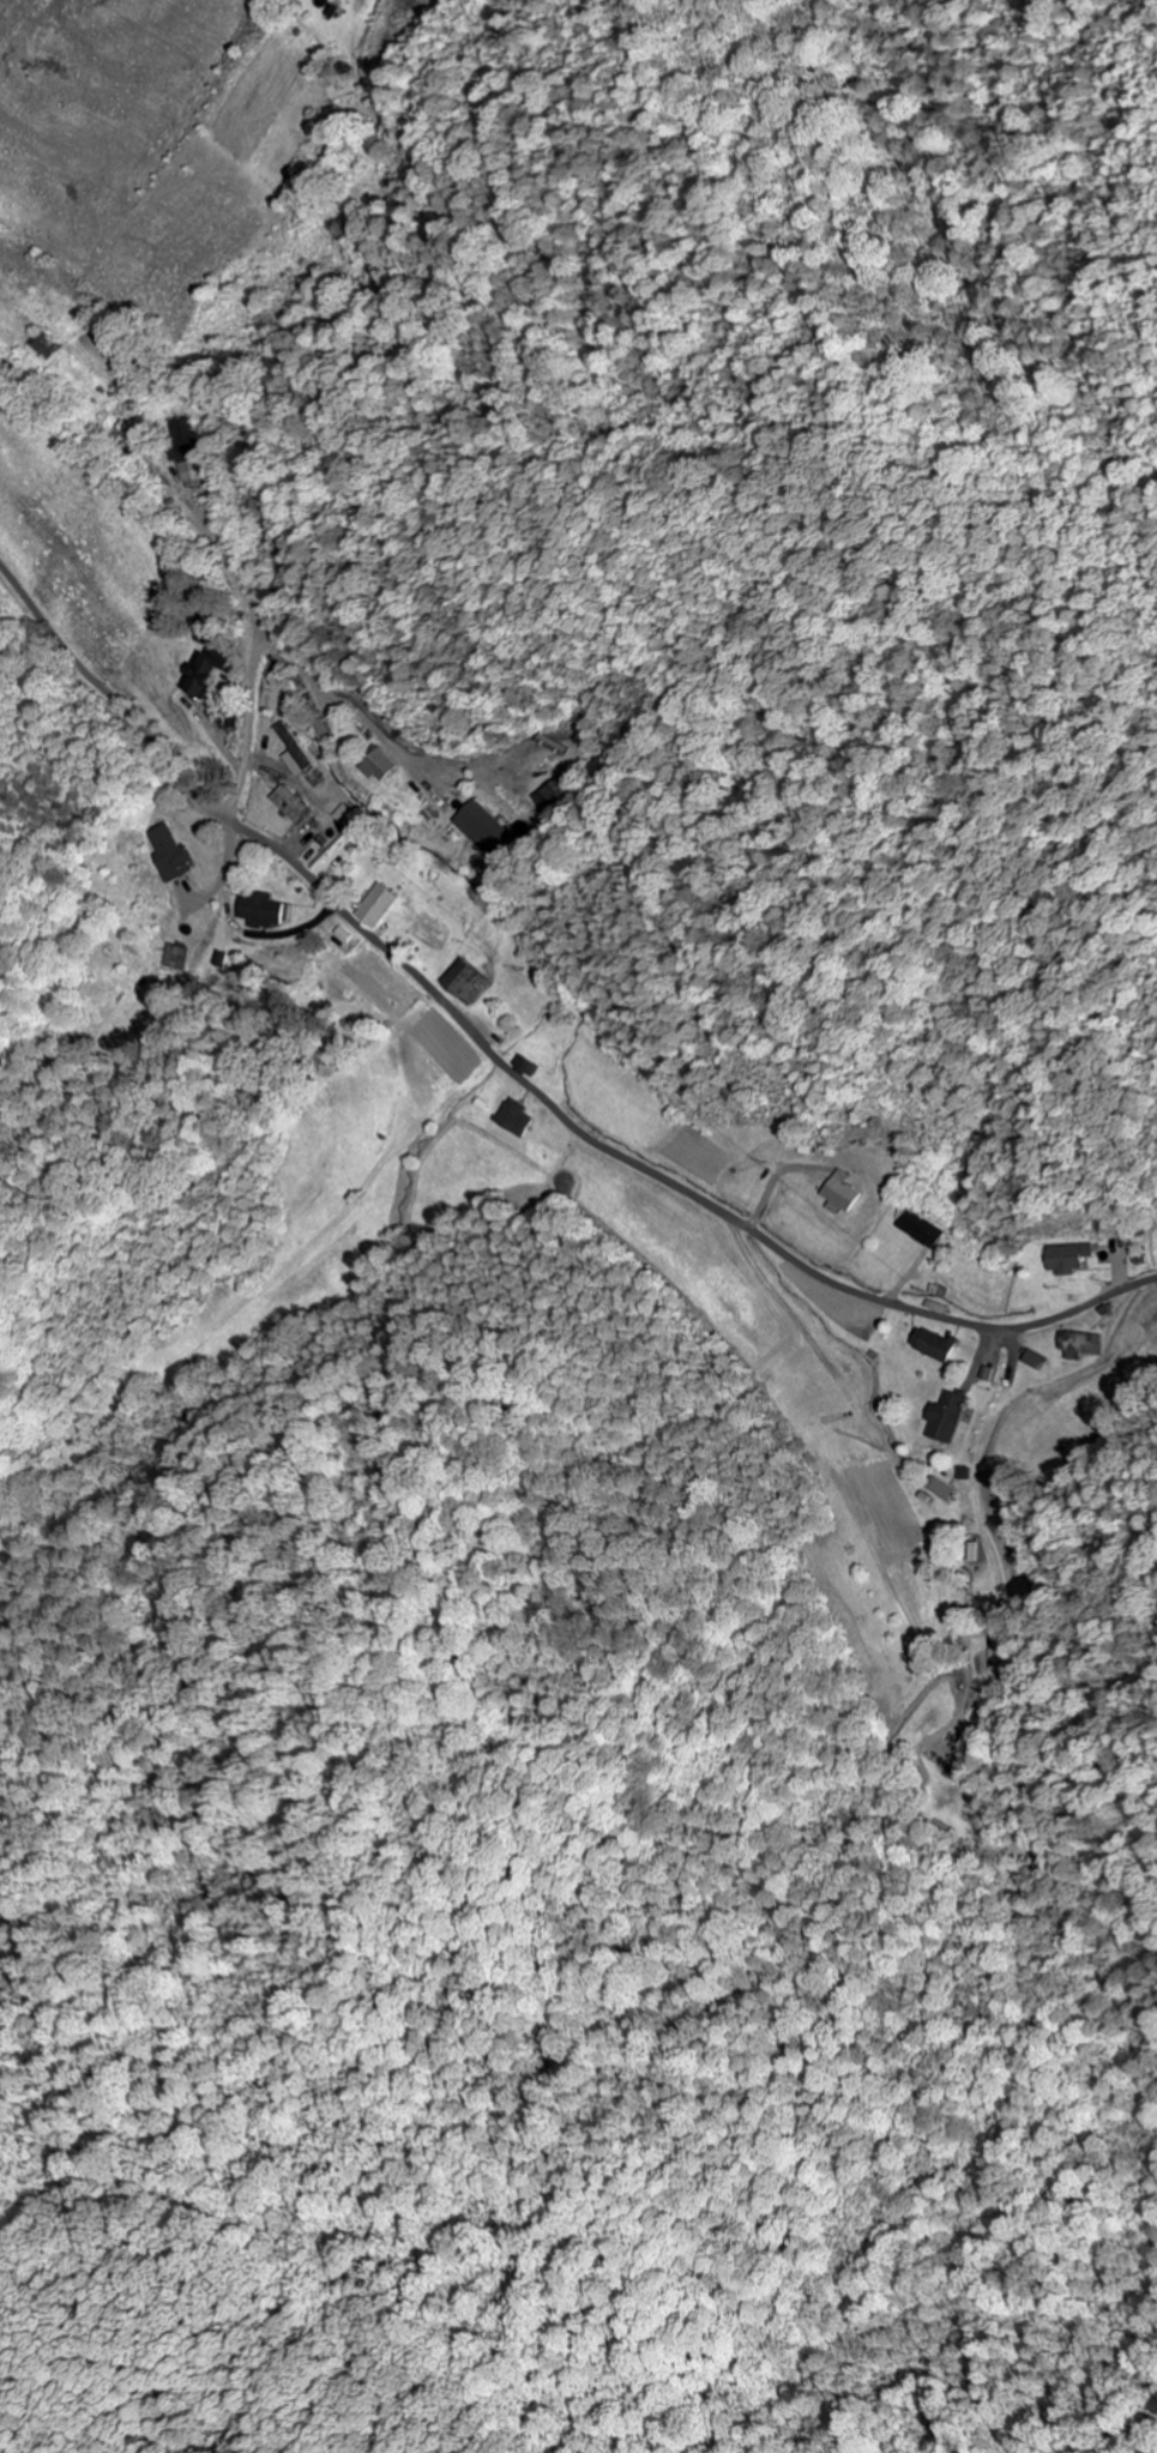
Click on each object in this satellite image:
building: (48, 345)
building: (187, 452)
building: (209, 659)
building: (329, 728)
building: (300, 745)
building: (387, 765)
building: (560, 796)
building: (295, 804)
building: (489, 828)
building: (174, 854)
building: (380, 905)
building: (263, 910)
building: (175, 957)
building: (471, 982)
building: (530, 1066)
road: (513, 1068)
building: (518, 1117)
building: (844, 1194)
building: (923, 1230)
building: (1068, 1258)
building: (936, 1346)
building: (946, 1421)
building: (940, 1487)

